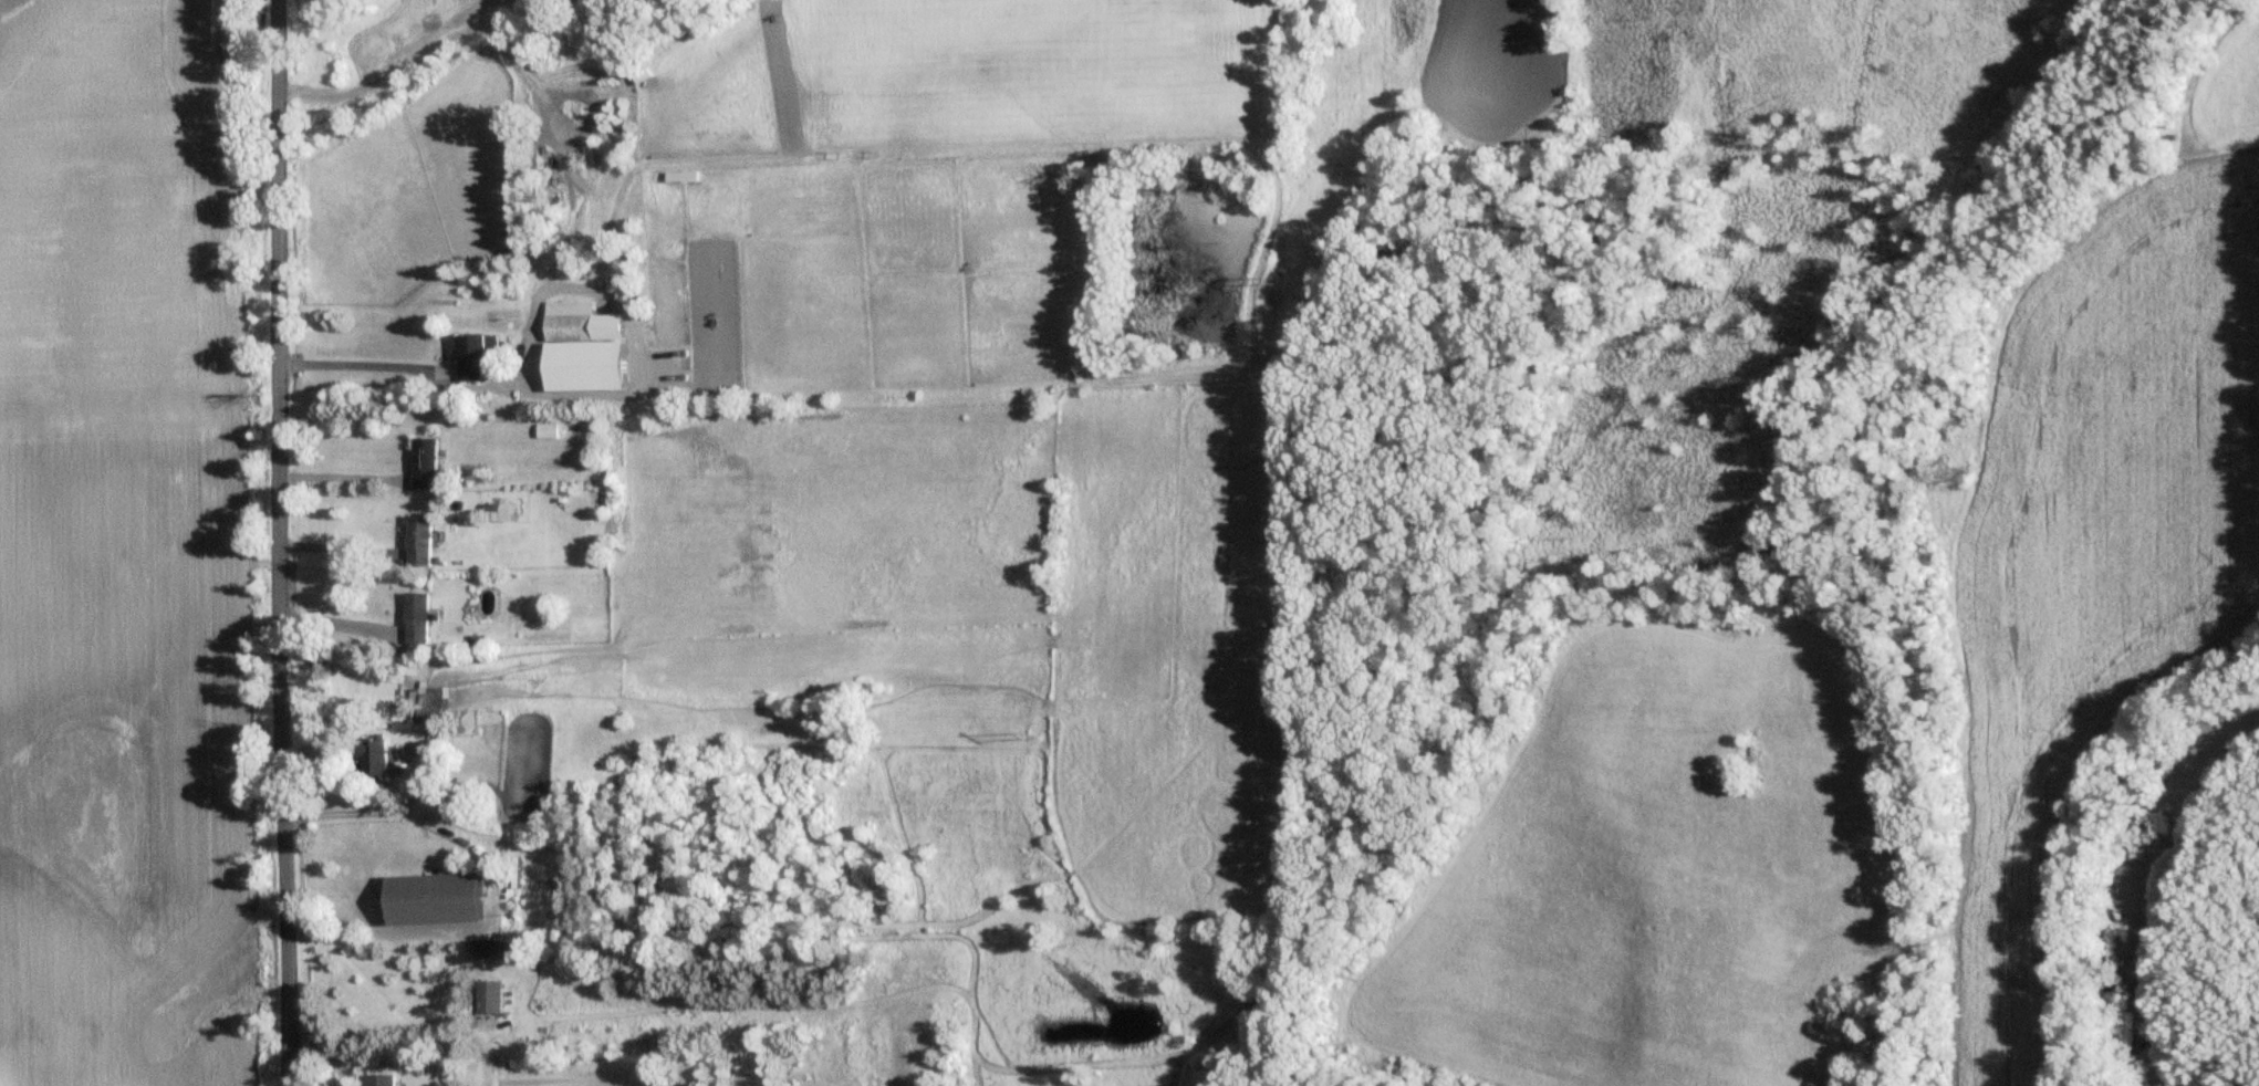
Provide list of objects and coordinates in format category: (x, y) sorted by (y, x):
road: (11, 7)
building: (680, 175)
power tower: (1268, 276)
building: (569, 320)
road: (364, 369)
building: (424, 461)
road: (344, 482)
building: (418, 539)
road: (285, 543)
road: (343, 552)
building: (416, 616)
road: (341, 627)
building: (426, 703)
power tower: (1032, 730)
building: (371, 755)
road: (381, 815)
building: (433, 896)
building: (490, 948)
building: (488, 994)
building: (379, 1078)

